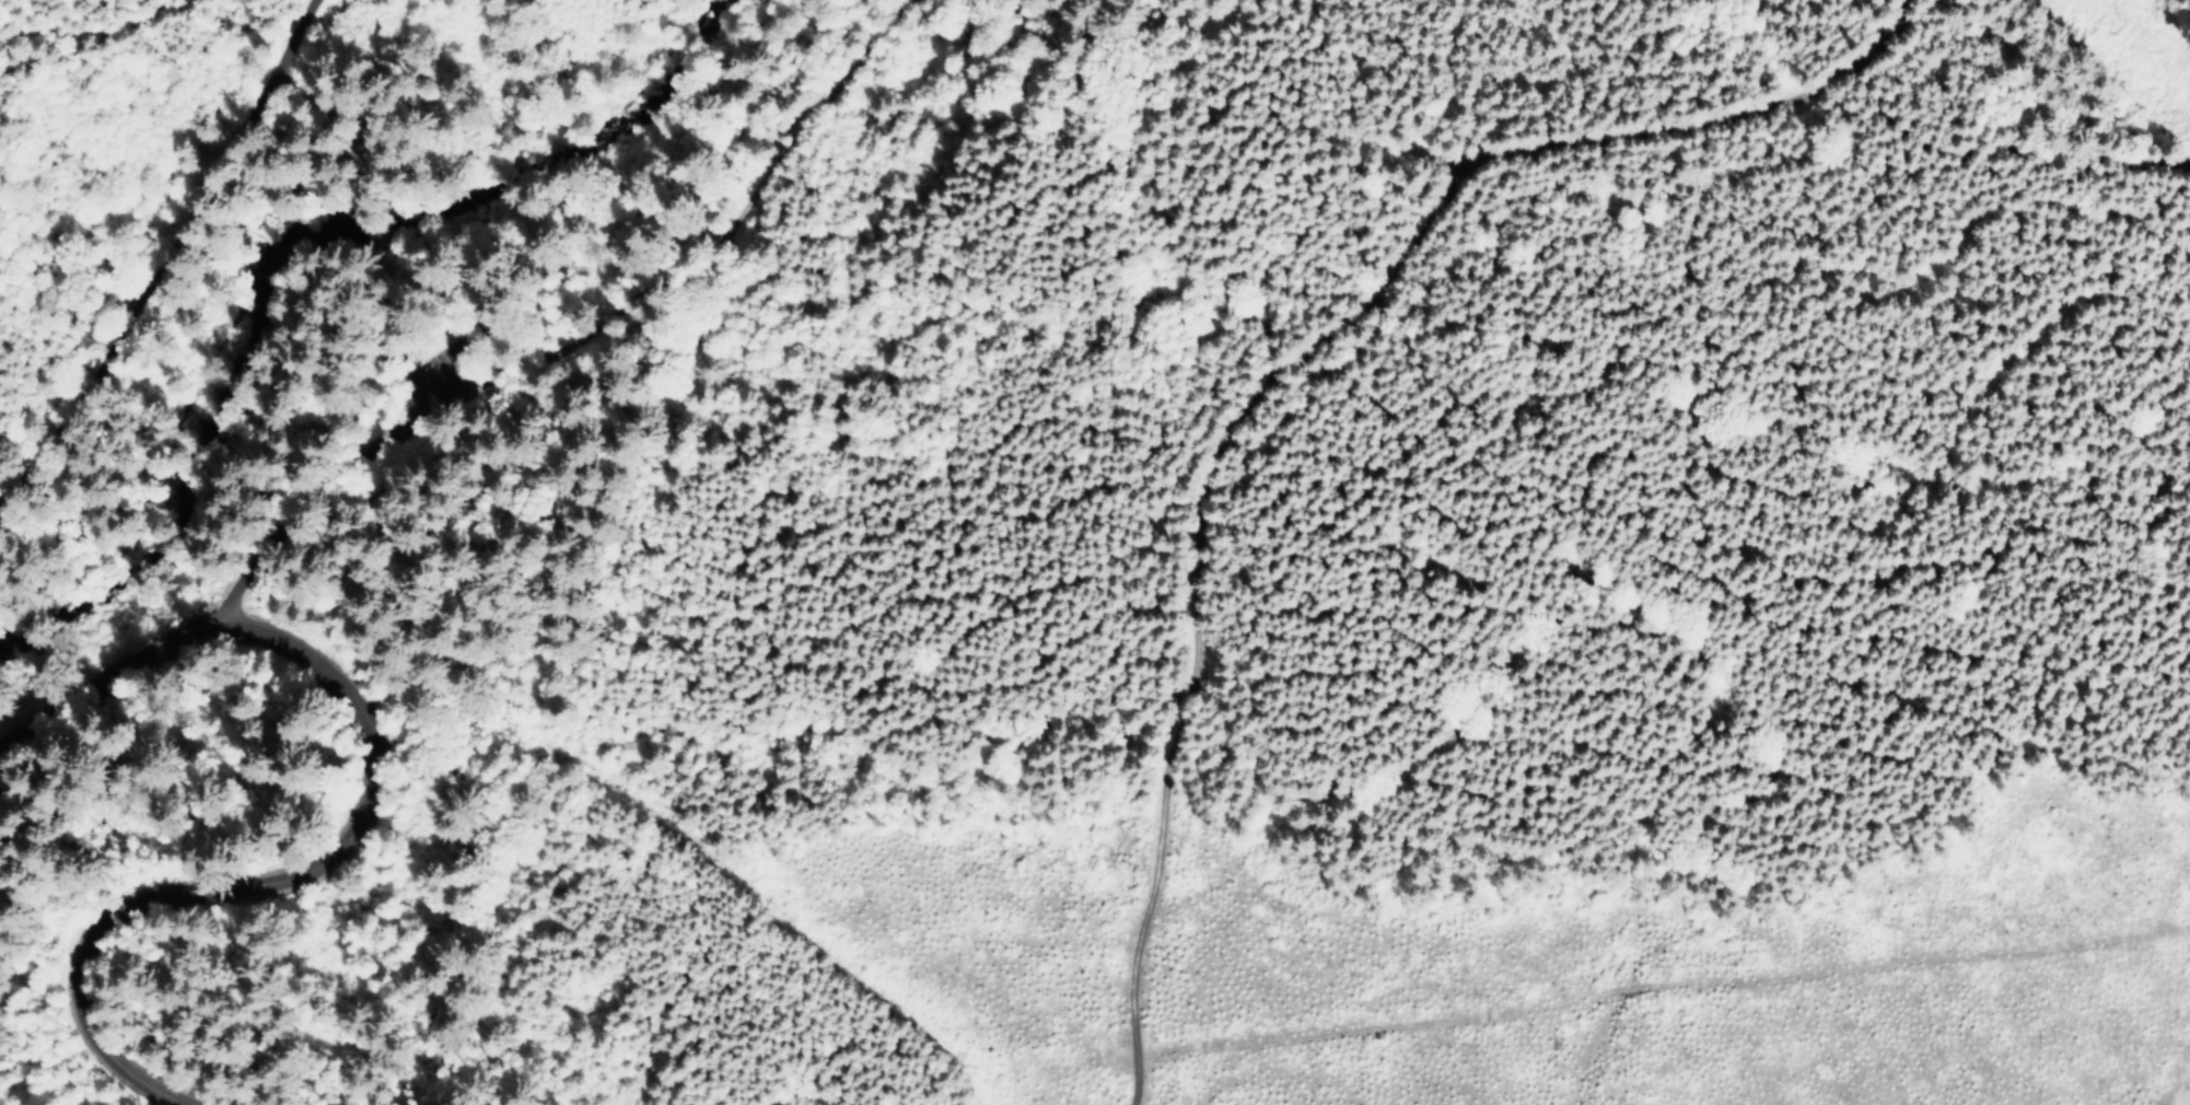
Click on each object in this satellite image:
road: (1984, 147)
road: (718, 221)
road: (172, 244)
road: (360, 339)
road: (1291, 374)
parking lot: (432, 377)
road: (329, 476)
road: (373, 487)
road: (350, 806)
road: (23, 826)
road: (1662, 996)

